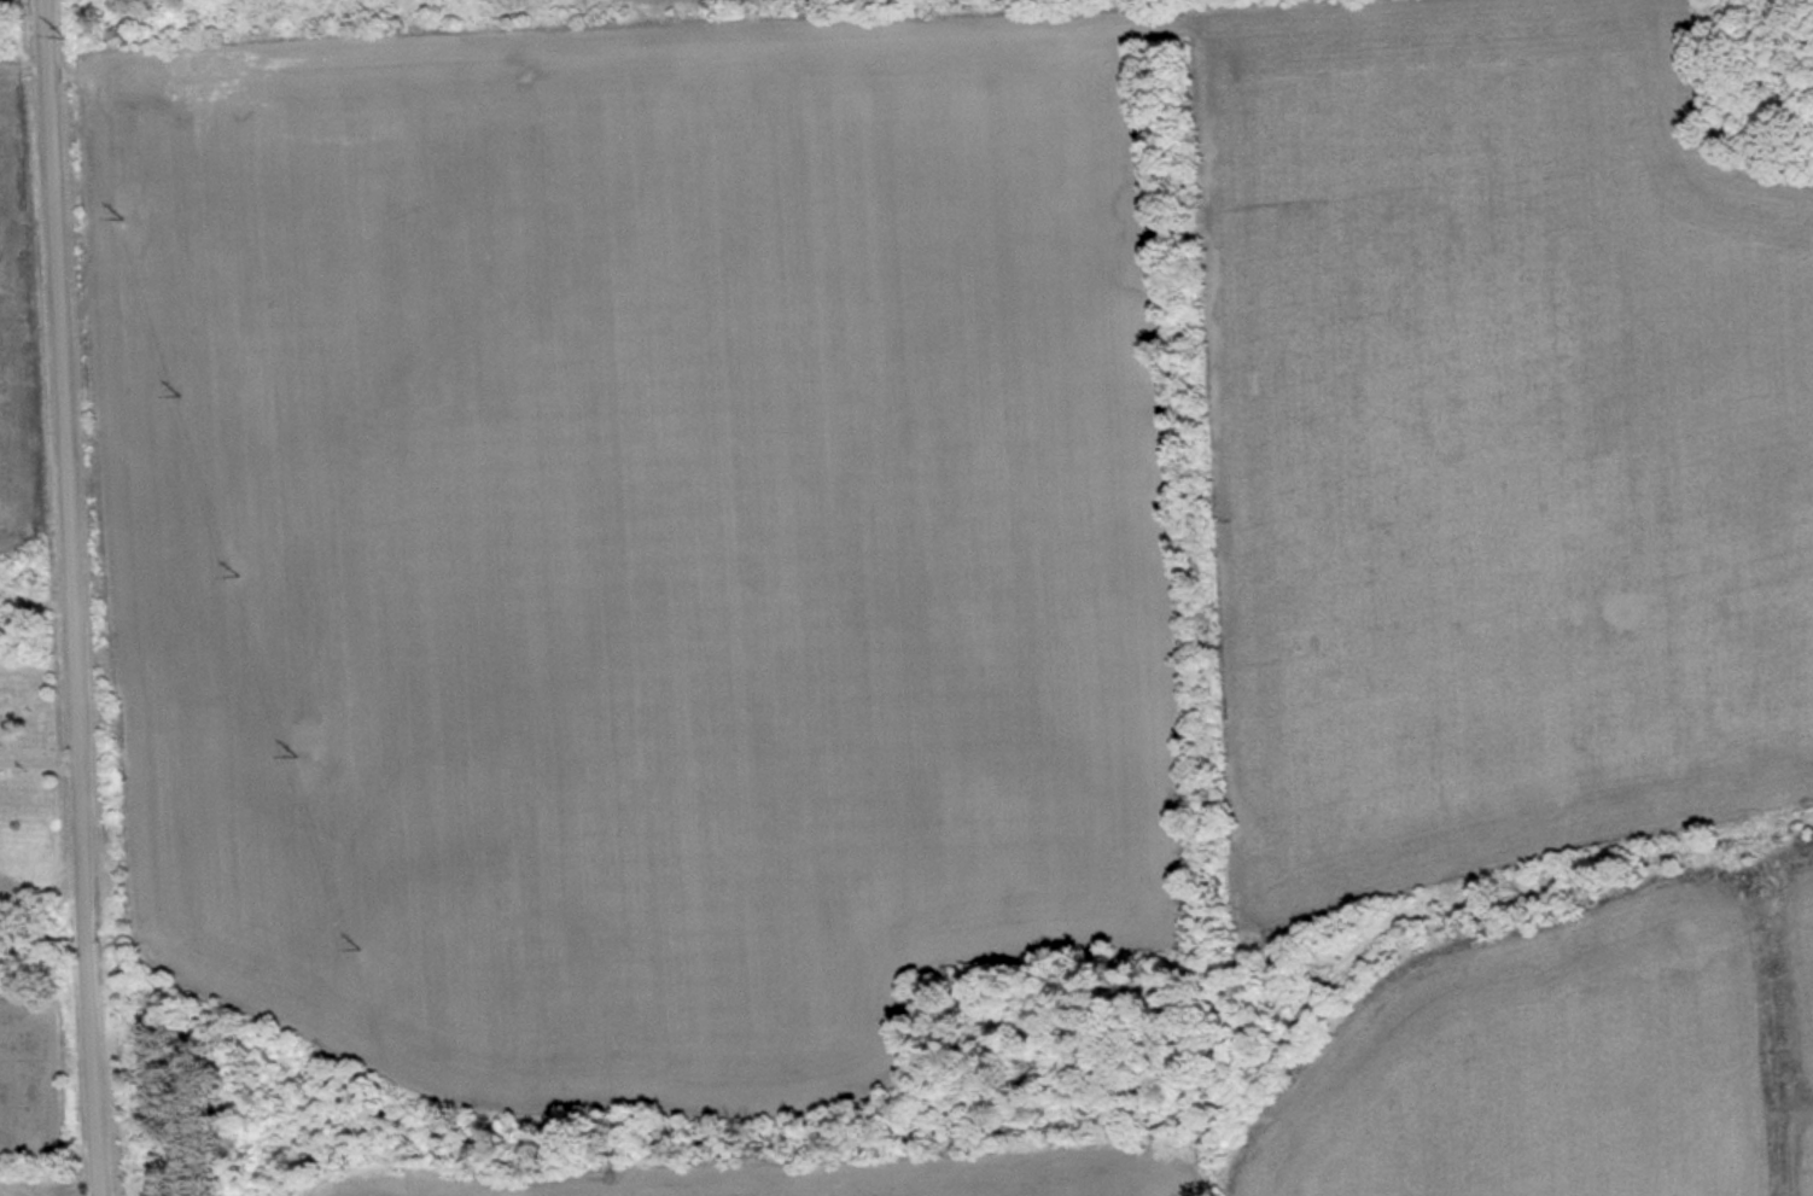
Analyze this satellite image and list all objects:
road: (68, 597)
building: (0, 713)
road: (1794, 1163)

